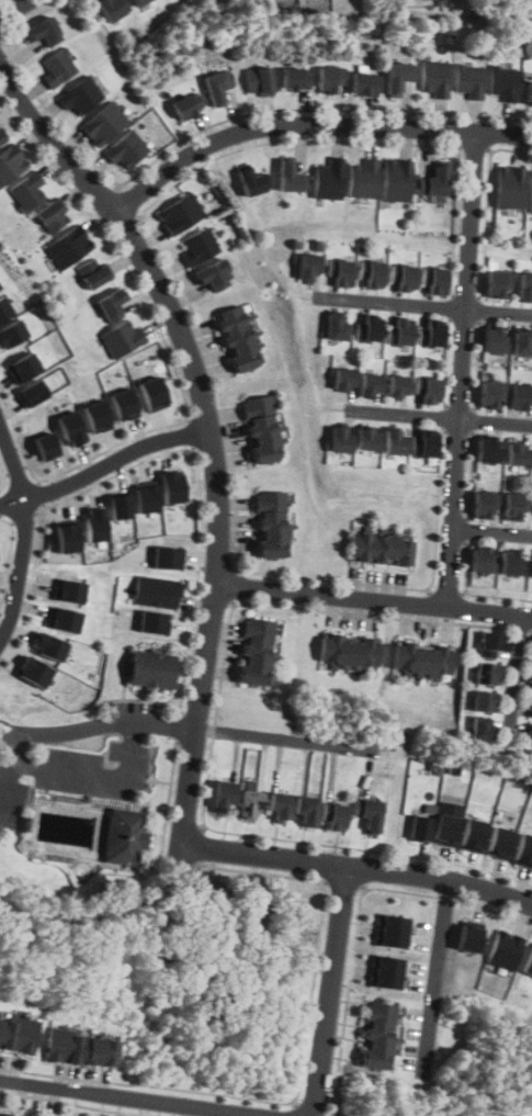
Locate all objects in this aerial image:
building: (137, 2)
road: (16, 9)
building: (111, 9)
building: (41, 31)
building: (57, 67)
building: (397, 76)
building: (295, 78)
building: (329, 78)
building: (434, 78)
building: (468, 80)
building: (258, 81)
building: (502, 82)
building: (364, 83)
building: (216, 86)
building: (528, 93)
building: (79, 95)
building: (185, 106)
building: (103, 123)
road: (308, 124)
building: (1, 137)
building: (124, 149)
building: (10, 164)
building: (288, 177)
building: (362, 178)
building: (328, 179)
building: (396, 180)
building: (434, 180)
building: (250, 181)
building: (508, 187)
building: (27, 189)
building: (531, 192)
building: (179, 213)
building: (50, 216)
building: (197, 246)
building: (67, 247)
building: (307, 268)
building: (339, 272)
building: (91, 273)
building: (371, 274)
building: (213, 275)
building: (401, 278)
building: (433, 281)
building: (497, 284)
building: (524, 286)
building: (0, 288)
building: (110, 304)
road: (425, 304)
building: (4, 307)
building: (335, 326)
building: (367, 327)
building: (11, 332)
building: (398, 332)
building: (431, 332)
building: (121, 338)
building: (236, 339)
building: (494, 339)
building: (522, 341)
building: (22, 367)
road: (461, 369)
building: (343, 380)
building: (369, 385)
building: (397, 386)
building: (427, 390)
building: (32, 392)
building: (152, 393)
building: (489, 394)
building: (520, 396)
building: (124, 404)
road: (442, 415)
building: (97, 416)
road: (206, 424)
building: (70, 428)
building: (260, 429)
building: (339, 438)
building: (366, 438)
building: (393, 441)
building: (423, 443)
building: (46, 446)
building: (486, 450)
building: (516, 452)
road: (115, 460)
road: (18, 476)
building: (171, 486)
building: (145, 497)
building: (484, 504)
building: (120, 506)
building: (514, 507)
building: (94, 523)
building: (269, 525)
road: (491, 532)
building: (67, 536)
building: (380, 549)
building: (168, 557)
building: (482, 559)
building: (510, 561)
road: (19, 567)
building: (531, 570)
building: (68, 590)
building: (156, 591)
road: (372, 598)
building: (65, 619)
building: (154, 621)
building: (490, 644)
building: (48, 645)
building: (348, 650)
building: (531, 650)
building: (254, 653)
building: (421, 658)
building: (149, 669)
road: (514, 669)
building: (35, 672)
building: (485, 674)
building: (530, 679)
building: (483, 701)
building: (530, 708)
road: (110, 726)
building: (480, 729)
building: (528, 734)
road: (282, 737)
road: (94, 775)
building: (222, 797)
building: (249, 802)
building: (278, 805)
building: (305, 811)
building: (367, 814)
building: (335, 818)
building: (421, 821)
building: (448, 822)
building: (474, 834)
building: (123, 836)
building: (501, 842)
building: (524, 850)
road: (358, 867)
building: (393, 931)
building: (468, 937)
building: (505, 948)
building: (528, 962)
building: (387, 971)
road: (435, 974)
road: (331, 991)
building: (20, 1015)
building: (18, 1034)
building: (376, 1035)
building: (80, 1047)
road: (139, 1098)
building: (3, 1115)

